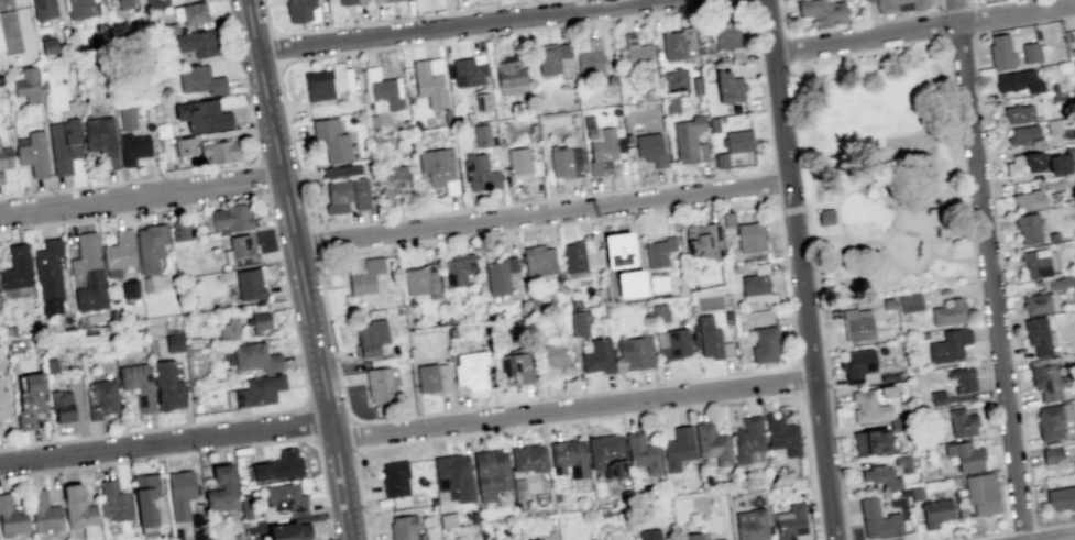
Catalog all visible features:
building: (383, 1)
building: (343, 2)
road: (746, 2)
building: (123, 3)
building: (155, 3)
building: (897, 7)
building: (78, 8)
building: (43, 10)
building: (301, 10)
building: (820, 12)
building: (190, 13)
road: (396, 20)
road: (460, 25)
building: (169, 29)
road: (923, 29)
building: (725, 30)
building: (9, 34)
building: (197, 43)
building: (593, 44)
building: (678, 44)
building: (47, 45)
building: (0, 47)
road: (273, 48)
building: (562, 51)
building: (1000, 52)
building: (1029, 52)
building: (638, 55)
building: (547, 58)
building: (588, 62)
road: (820, 66)
road: (776, 67)
road: (797, 69)
building: (469, 70)
building: (511, 70)
building: (199, 79)
building: (673, 79)
building: (1017, 80)
building: (327, 81)
building: (26, 85)
building: (428, 85)
building: (727, 86)
building: (1053, 87)
building: (384, 92)
building: (482, 101)
building: (670, 104)
building: (1018, 113)
building: (201, 115)
building: (127, 119)
building: (372, 122)
building: (713, 124)
building: (1053, 125)
building: (162, 130)
building: (1021, 133)
building: (481, 135)
building: (331, 139)
building: (101, 140)
building: (689, 140)
building: (737, 141)
building: (63, 144)
building: (133, 147)
building: (600, 147)
building: (649, 147)
building: (184, 148)
building: (1067, 148)
building: (220, 151)
park: (910, 152)
building: (33, 155)
building: (4, 159)
building: (564, 161)
building: (721, 161)
building: (1033, 161)
building: (522, 162)
road: (769, 163)
building: (1058, 163)
building: (1014, 165)
building: (437, 168)
road: (210, 170)
building: (339, 170)
building: (479, 173)
park: (880, 175)
building: (393, 176)
road: (262, 177)
building: (1056, 181)
building: (345, 195)
road: (842, 196)
road: (141, 197)
building: (1029, 199)
road: (948, 201)
road: (799, 208)
road: (541, 216)
road: (838, 216)
building: (825, 217)
building: (231, 218)
building: (727, 219)
building: (1028, 228)
building: (180, 230)
building: (1053, 235)
building: (749, 236)
road: (853, 238)
building: (703, 240)
road: (923, 240)
building: (670, 242)
road: (317, 243)
building: (150, 246)
building: (619, 249)
building: (242, 250)
building: (119, 252)
building: (655, 253)
building: (580, 255)
building: (538, 260)
road: (892, 263)
building: (509, 264)
building: (1035, 264)
building: (15, 268)
building: (457, 268)
road: (300, 269)
road: (798, 269)
road: (989, 269)
building: (87, 273)
building: (363, 274)
building: (48, 276)
building: (496, 277)
building: (421, 280)
building: (1060, 283)
building: (145, 284)
building: (249, 284)
building: (629, 284)
building: (757, 286)
building: (130, 288)
building: (1074, 288)
building: (1039, 302)
building: (888, 304)
building: (910, 304)
building: (658, 311)
building: (948, 312)
building: (79, 320)
building: (257, 321)
road: (293, 321)
building: (578, 322)
building: (856, 324)
building: (46, 328)
building: (228, 329)
building: (923, 334)
building: (706, 335)
building: (1036, 335)
building: (371, 337)
building: (14, 343)
building: (173, 343)
building: (671, 343)
building: (764, 343)
building: (948, 344)
building: (635, 352)
building: (550, 355)
building: (254, 356)
building: (597, 356)
building: (856, 364)
building: (51, 365)
building: (513, 368)
building: (470, 370)
building: (544, 373)
road: (826, 374)
building: (427, 377)
building: (887, 377)
building: (962, 378)
building: (1047, 381)
building: (138, 384)
building: (379, 384)
building: (166, 385)
road: (623, 388)
building: (259, 390)
building: (887, 392)
building: (936, 397)
building: (30, 398)
building: (100, 398)
building: (3, 404)
building: (61, 406)
building: (868, 407)
road: (574, 409)
road: (606, 416)
building: (1049, 421)
building: (961, 422)
road: (311, 423)
building: (895, 426)
building: (0, 430)
building: (781, 433)
road: (352, 437)
building: (746, 439)
building: (873, 441)
road: (166, 442)
building: (712, 442)
building: (677, 448)
building: (1074, 450)
road: (207, 451)
building: (641, 452)
building: (606, 454)
building: (1051, 454)
building: (965, 455)
building: (528, 458)
building: (568, 458)
building: (903, 463)
building: (277, 465)
building: (490, 473)
building: (453, 476)
building: (881, 476)
building: (394, 478)
building: (705, 482)
building: (797, 483)
building: (517, 487)
building: (221, 489)
building: (903, 491)
building: (179, 493)
building: (915, 493)
building: (980, 493)
building: (557, 496)
building: (283, 497)
building: (144, 498)
building: (1061, 498)
building: (113, 500)
building: (244, 506)
building: (962, 510)
building: (43, 511)
building: (79, 511)
building: (935, 511)
building: (603, 513)
building: (11, 517)
building: (471, 517)
building: (447, 519)
building: (877, 520)
building: (789, 522)
building: (750, 525)
building: (197, 526)
building: (403, 527)
building: (289, 531)
building: (177, 533)
building: (649, 535)
building: (483, 536)
building: (691, 536)
road: (1064, 538)
building: (533, 539)
building: (720, 539)

